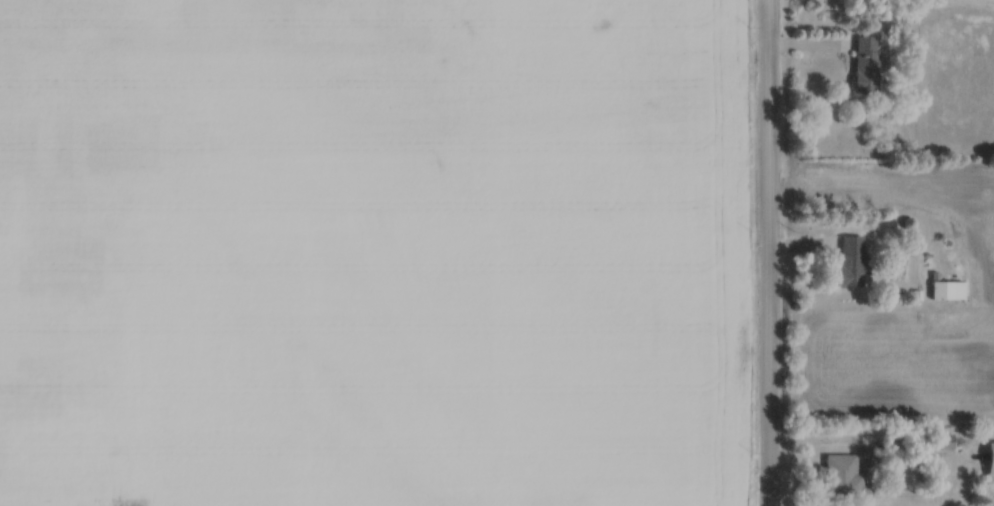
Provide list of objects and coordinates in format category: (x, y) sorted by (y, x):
building: (864, 64)
road: (770, 253)
building: (850, 261)
building: (947, 290)
building: (943, 441)
building: (989, 459)
building: (845, 476)

